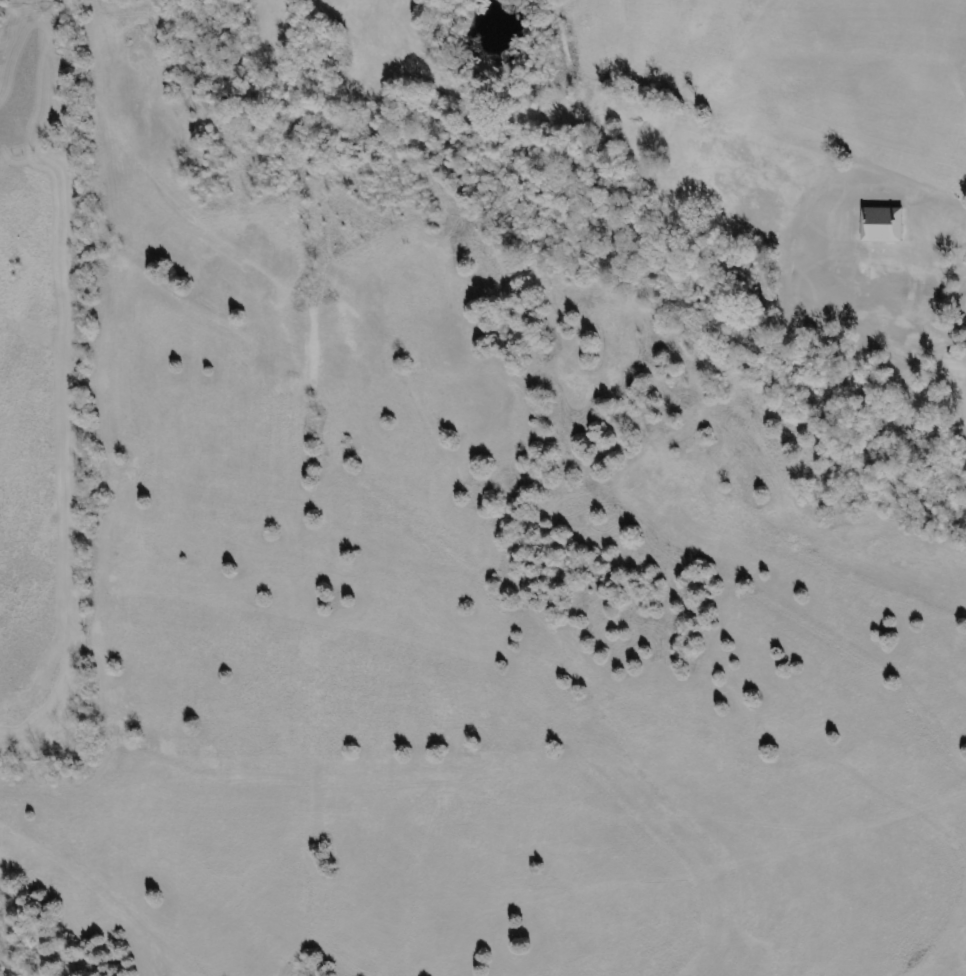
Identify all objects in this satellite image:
building: (886, 225)

